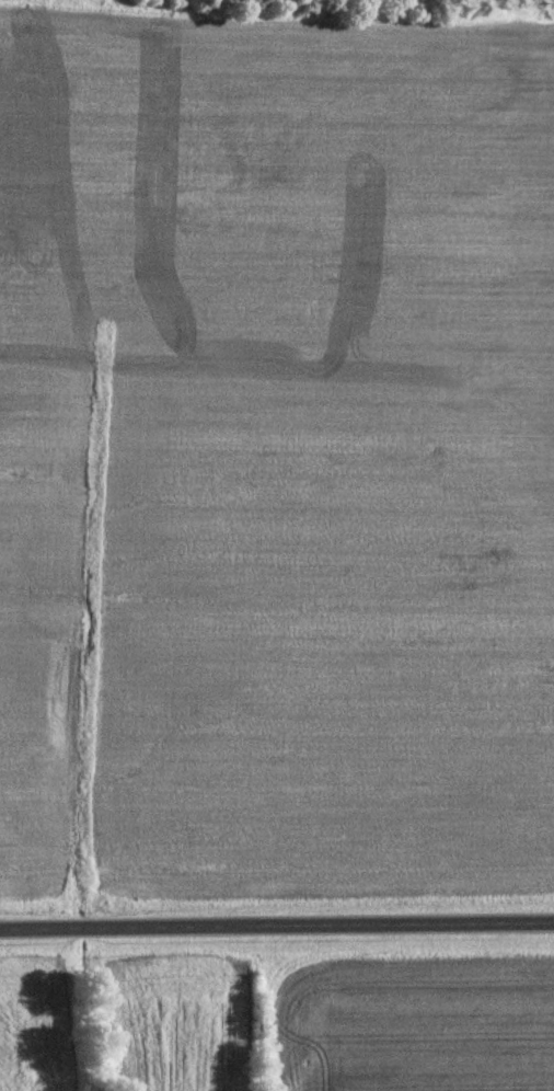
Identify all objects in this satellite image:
road: (277, 923)

